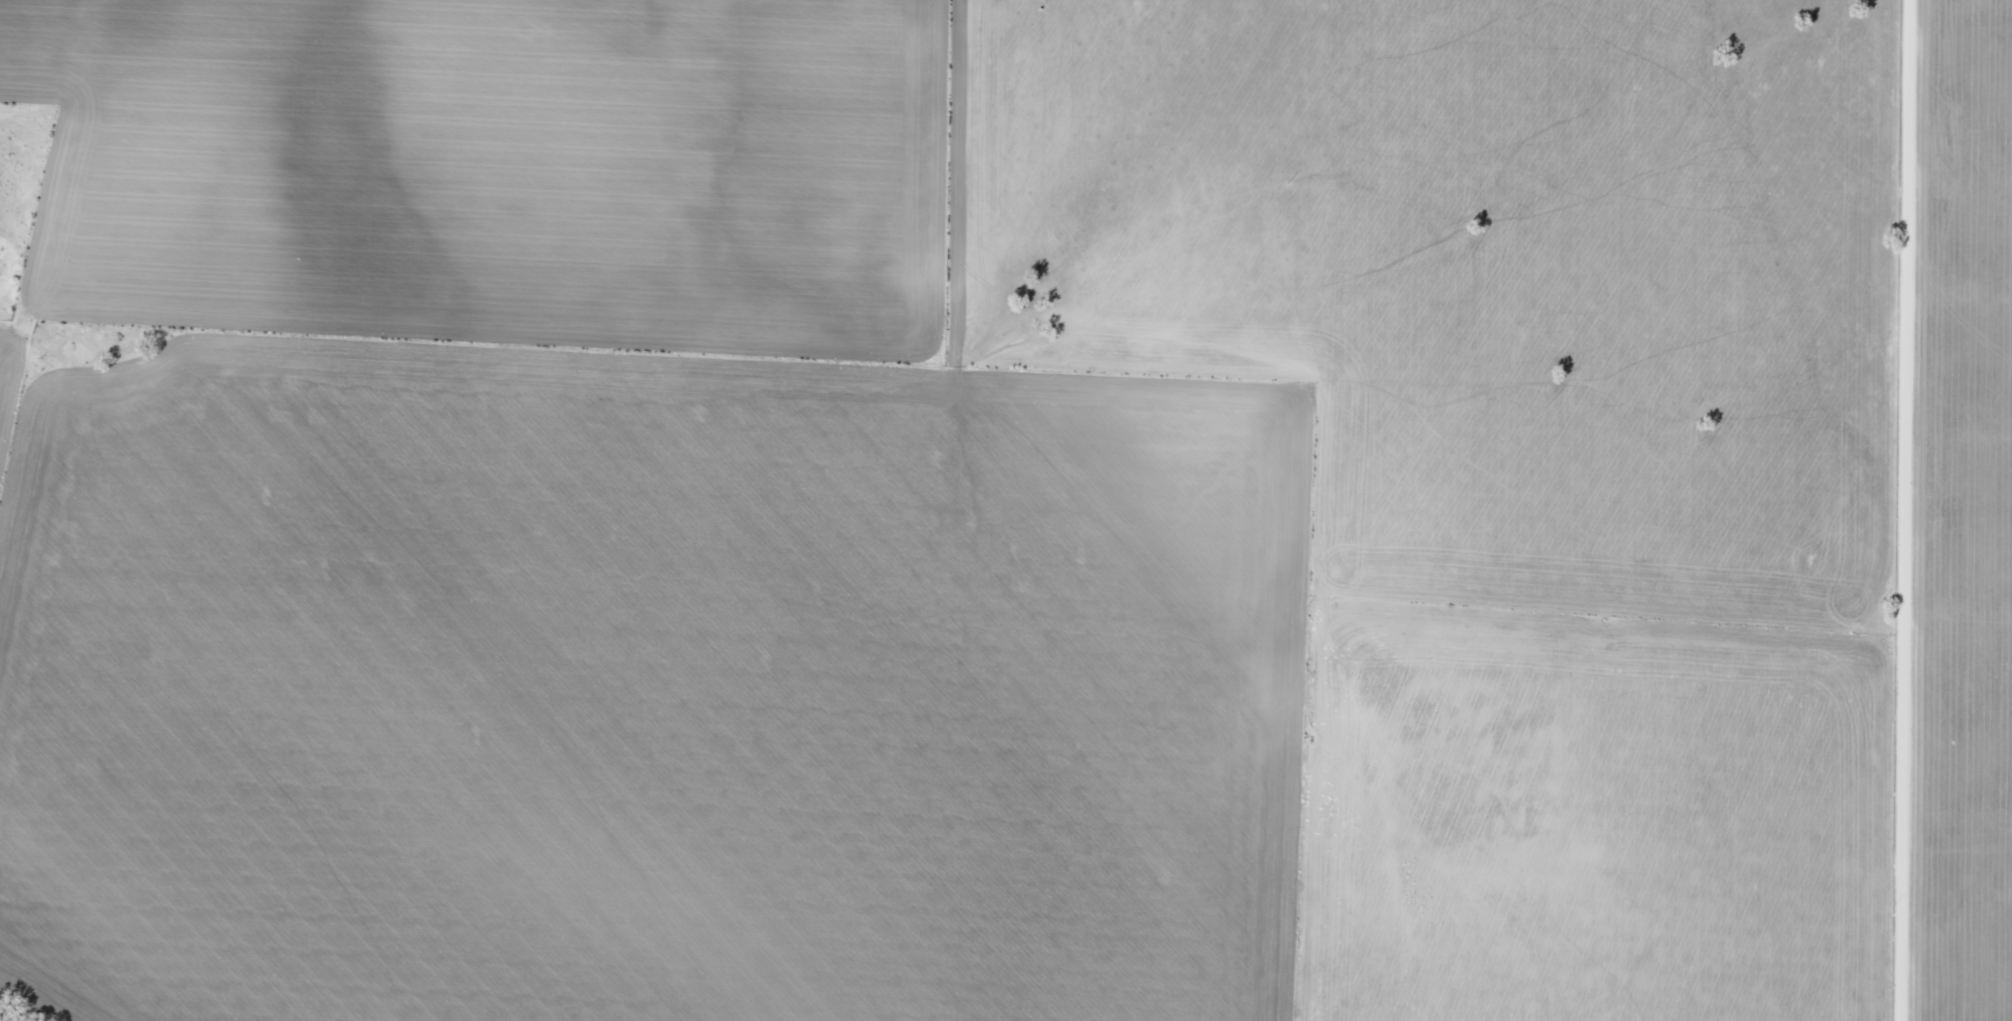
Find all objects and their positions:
road: (50, 17)
road: (1918, 510)

